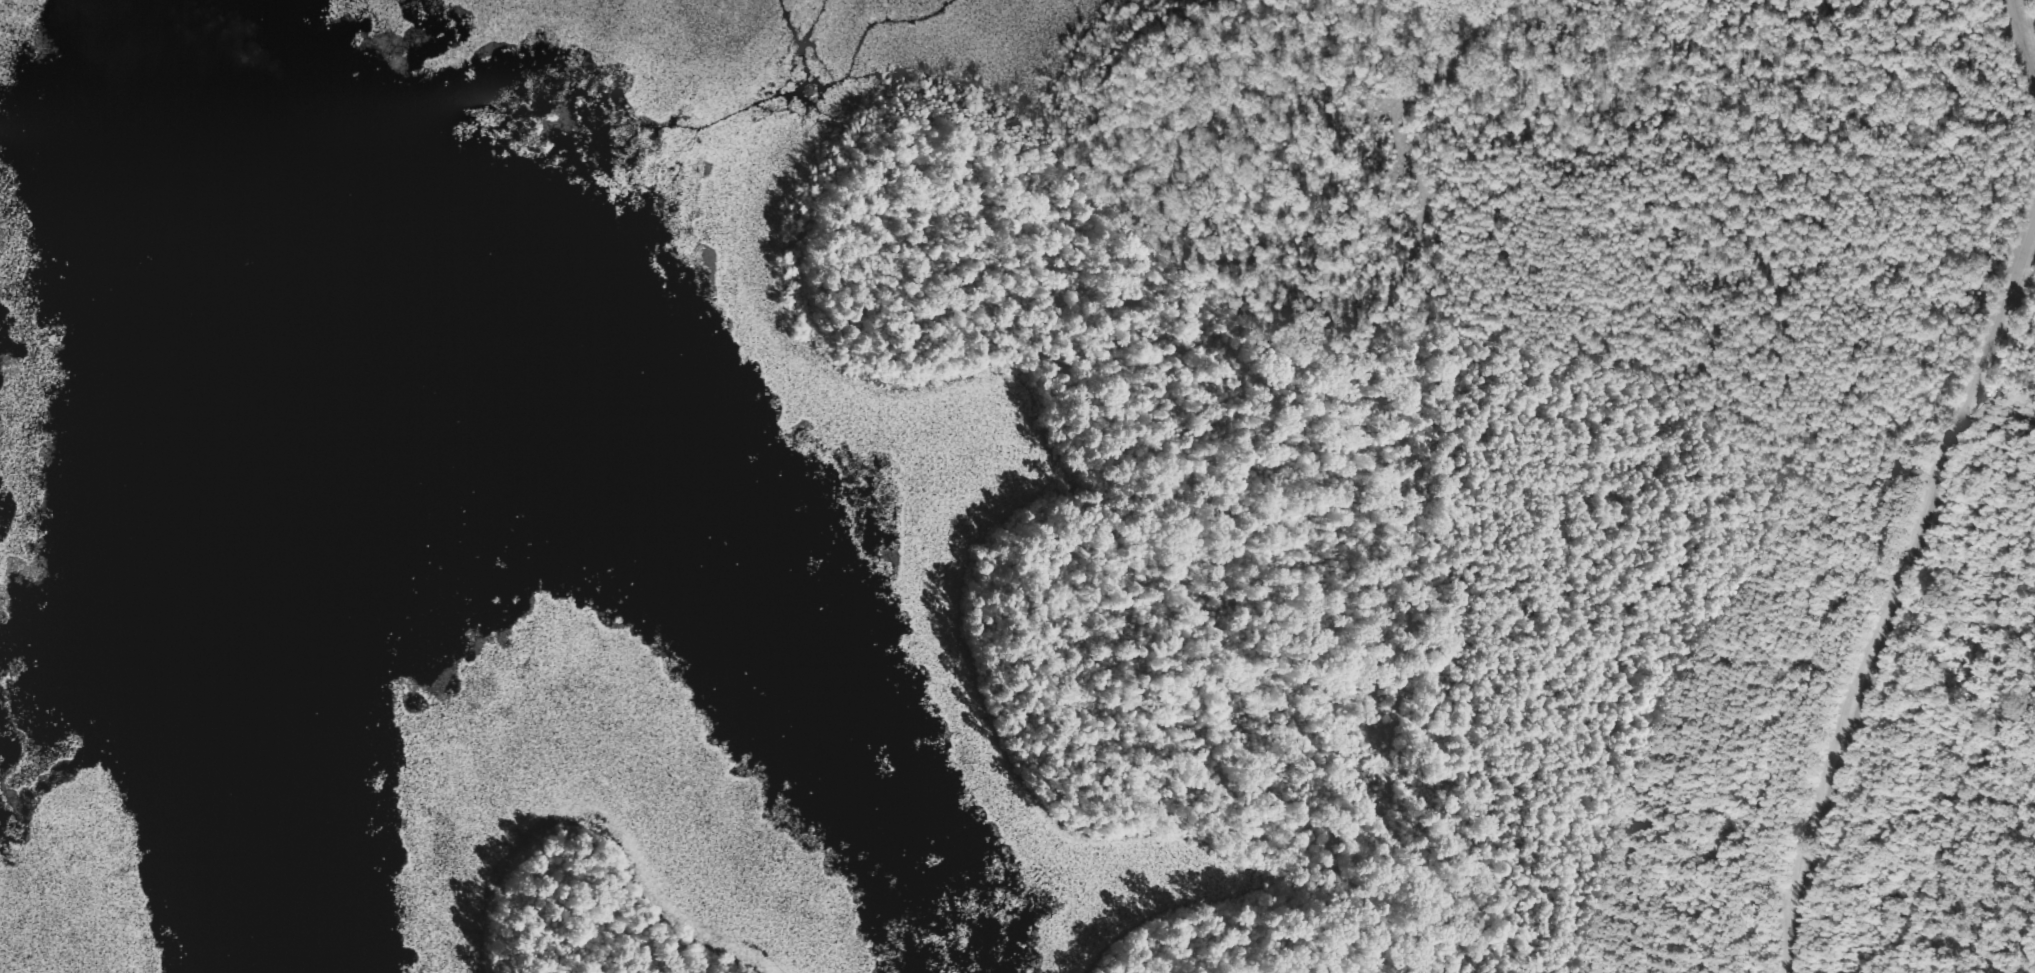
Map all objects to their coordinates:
road: (2030, 16)
road: (1905, 599)

